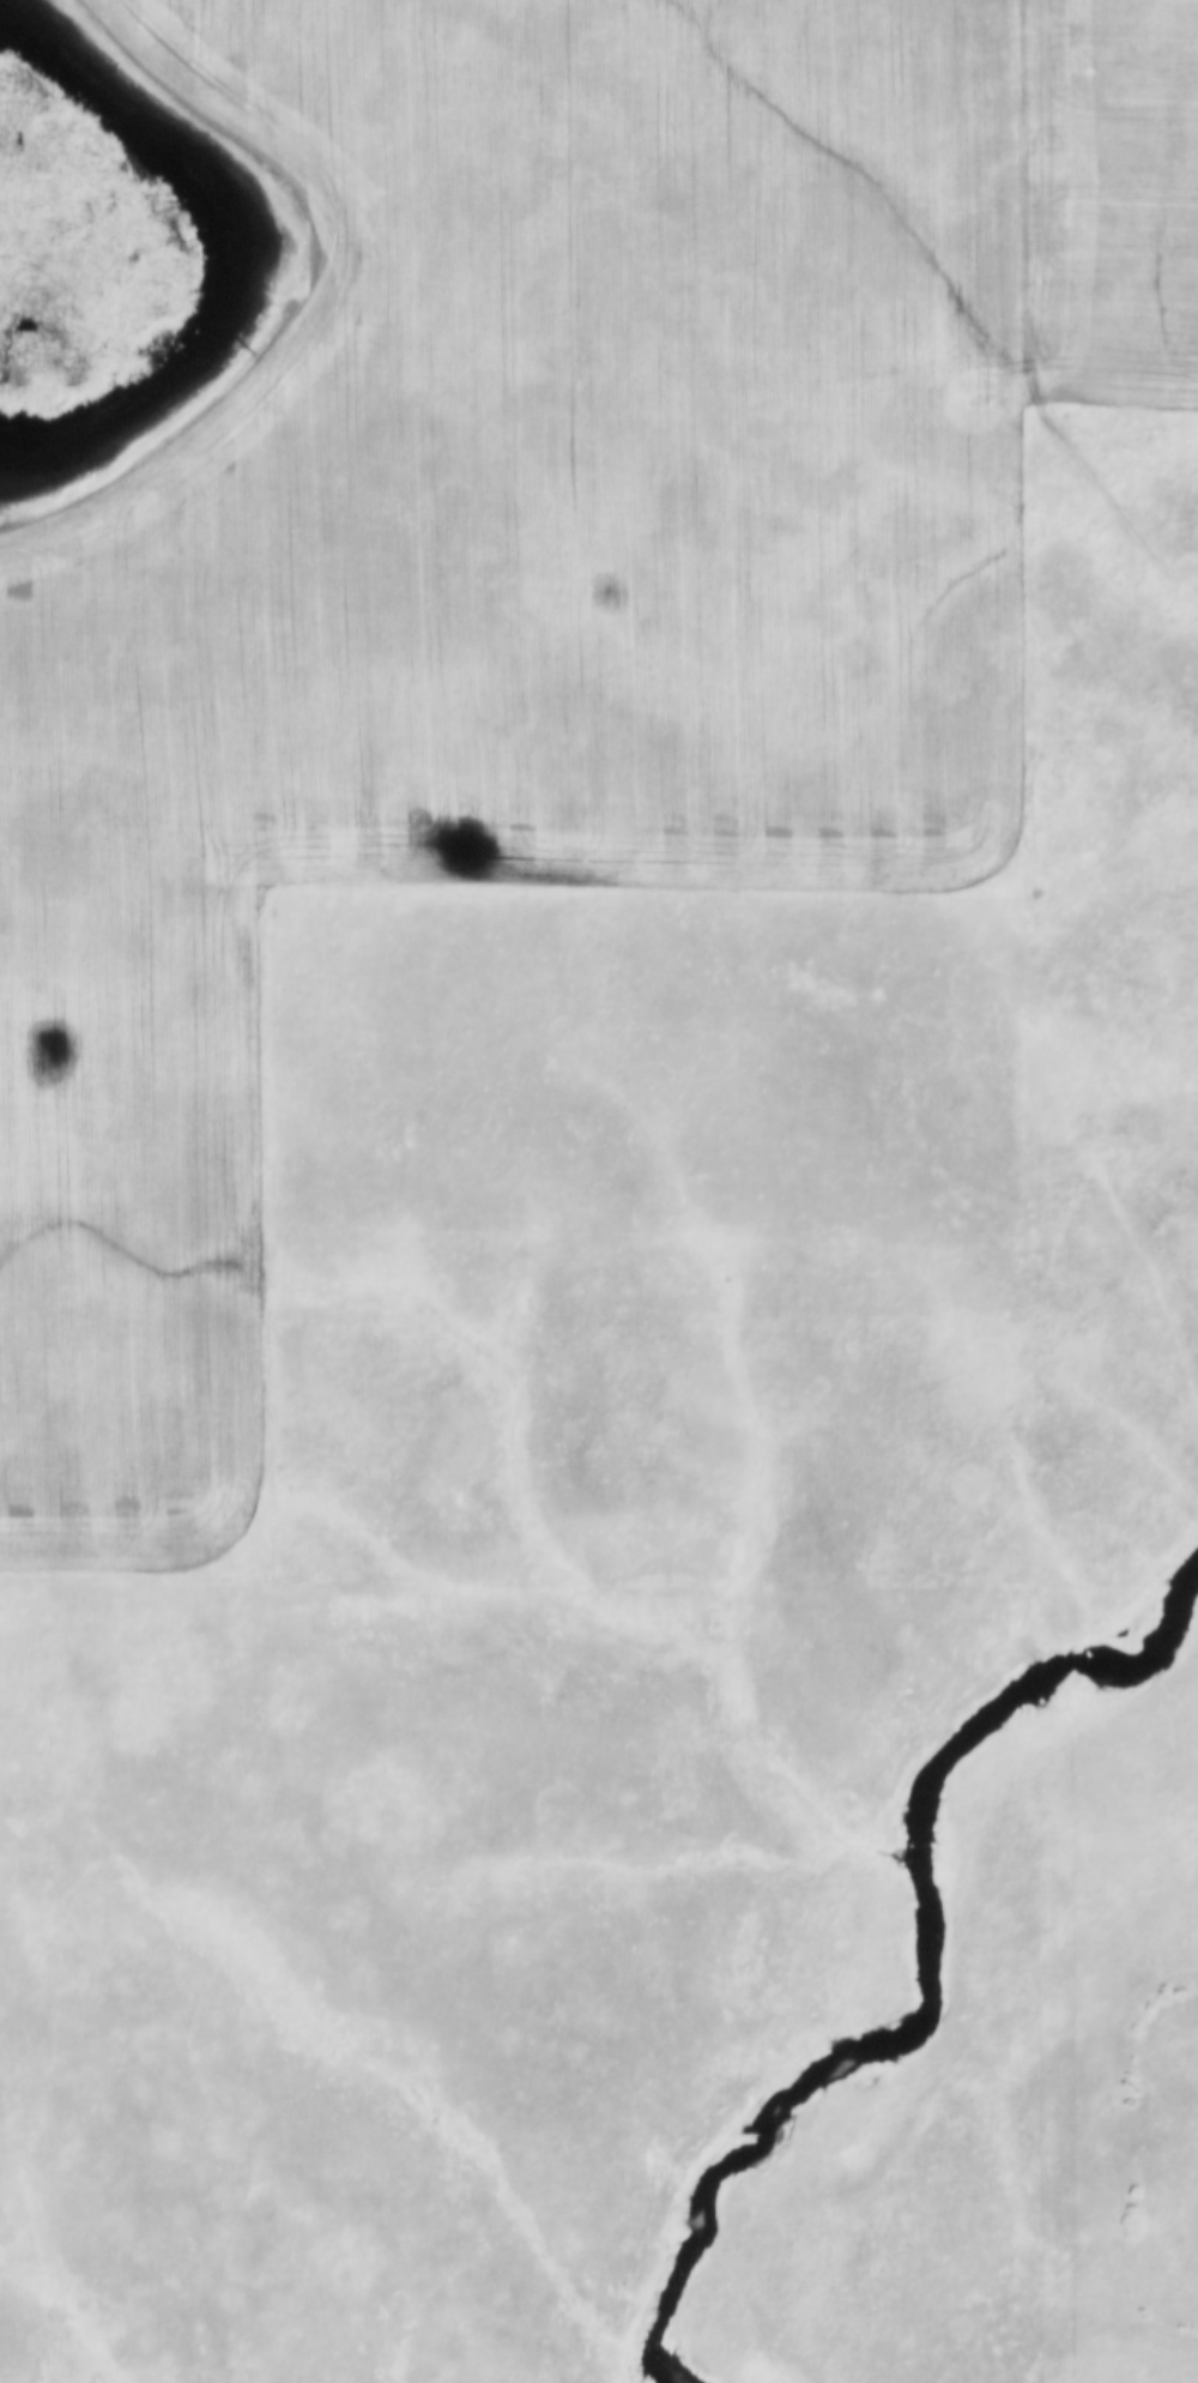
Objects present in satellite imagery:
road: (1034, 167)

